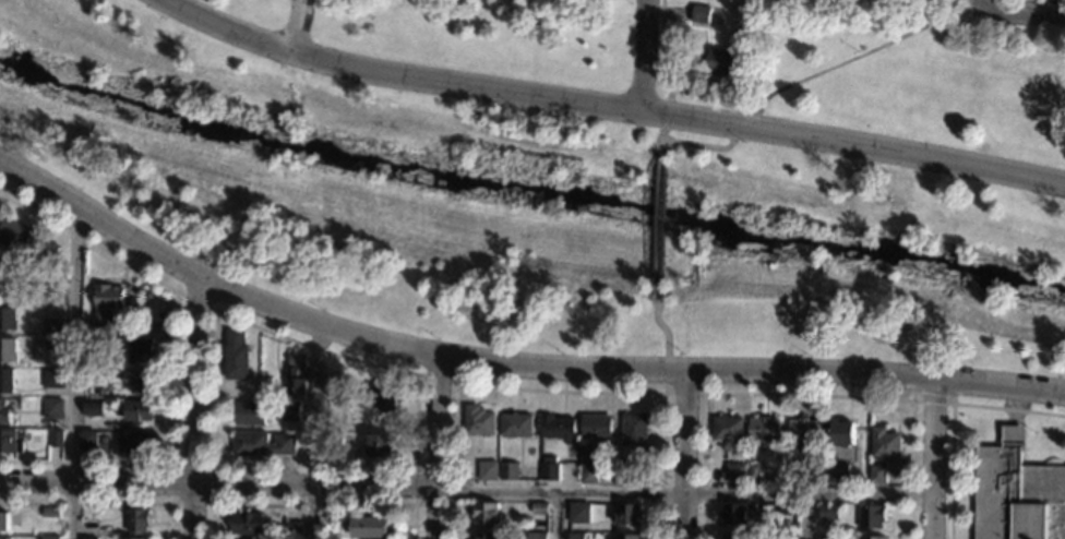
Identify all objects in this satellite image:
road: (981, 2)
road: (1022, 13)
building: (702, 14)
road: (297, 26)
road: (661, 47)
road: (646, 56)
road: (854, 56)
building: (721, 62)
road: (610, 107)
road: (668, 115)
road: (745, 125)
road: (701, 144)
road: (662, 146)
park: (583, 166)
river: (528, 191)
road: (659, 224)
building: (27, 241)
building: (148, 294)
road: (194, 300)
building: (107, 304)
building: (7, 319)
building: (121, 324)
road: (661, 324)
building: (51, 325)
road: (214, 334)
building: (93, 342)
building: (52, 343)
building: (140, 349)
building: (8, 350)
building: (236, 354)
building: (296, 358)
road: (173, 361)
road: (510, 363)
road: (72, 371)
road: (668, 373)
building: (92, 375)
road: (436, 378)
building: (5, 379)
building: (52, 379)
building: (143, 380)
building: (294, 383)
building: (333, 384)
road: (555, 391)
road: (686, 393)
road: (805, 395)
building: (383, 397)
road: (933, 400)
road: (195, 406)
building: (52, 407)
building: (93, 407)
building: (137, 409)
building: (289, 410)
building: (4, 411)
building: (249, 412)
road: (953, 415)
building: (479, 421)
building: (516, 423)
building: (557, 427)
building: (596, 427)
building: (635, 429)
building: (765, 431)
road: (315, 432)
building: (729, 432)
building: (805, 433)
building: (842, 433)
building: (56, 438)
building: (333, 438)
building: (87, 439)
building: (9, 441)
building: (135, 442)
building: (379, 443)
building: (262, 444)
building: (886, 444)
road: (436, 446)
road: (686, 453)
road: (937, 459)
road: (173, 463)
building: (549, 469)
building: (487, 470)
building: (631, 470)
building: (508, 471)
building: (734, 471)
building: (754, 471)
building: (588, 472)
building: (794, 472)
building: (838, 474)
building: (877, 474)
road: (218, 481)
road: (416, 486)
road: (686, 493)
building: (1017, 493)
road: (105, 501)
road: (312, 503)
building: (539, 507)
building: (788, 510)
building: (50, 512)
building: (827, 512)
building: (579, 513)
building: (486, 514)
building: (734, 514)
road: (555, 515)
building: (627, 515)
road: (803, 516)
building: (873, 516)
building: (139, 519)
building: (3, 520)
building: (247, 523)
building: (328, 525)
building: (371, 527)
building: (291, 528)
building: (101, 530)
building: (486, 536)
building: (537, 536)
building: (575, 536)
building: (5, 537)
building: (51, 537)
building: (88, 537)
building: (629, 537)
building: (733, 537)
building: (787, 537)
building: (826, 537)
building: (132, 538)
building: (872, 538)

